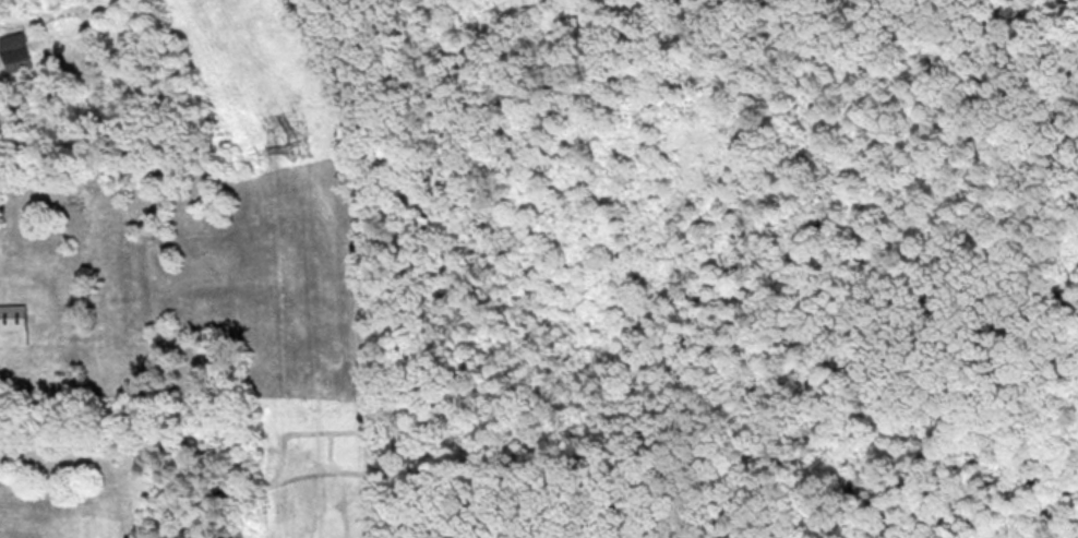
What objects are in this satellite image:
building: (14, 51)
power tower: (302, 151)
park: (724, 265)
building: (13, 318)

